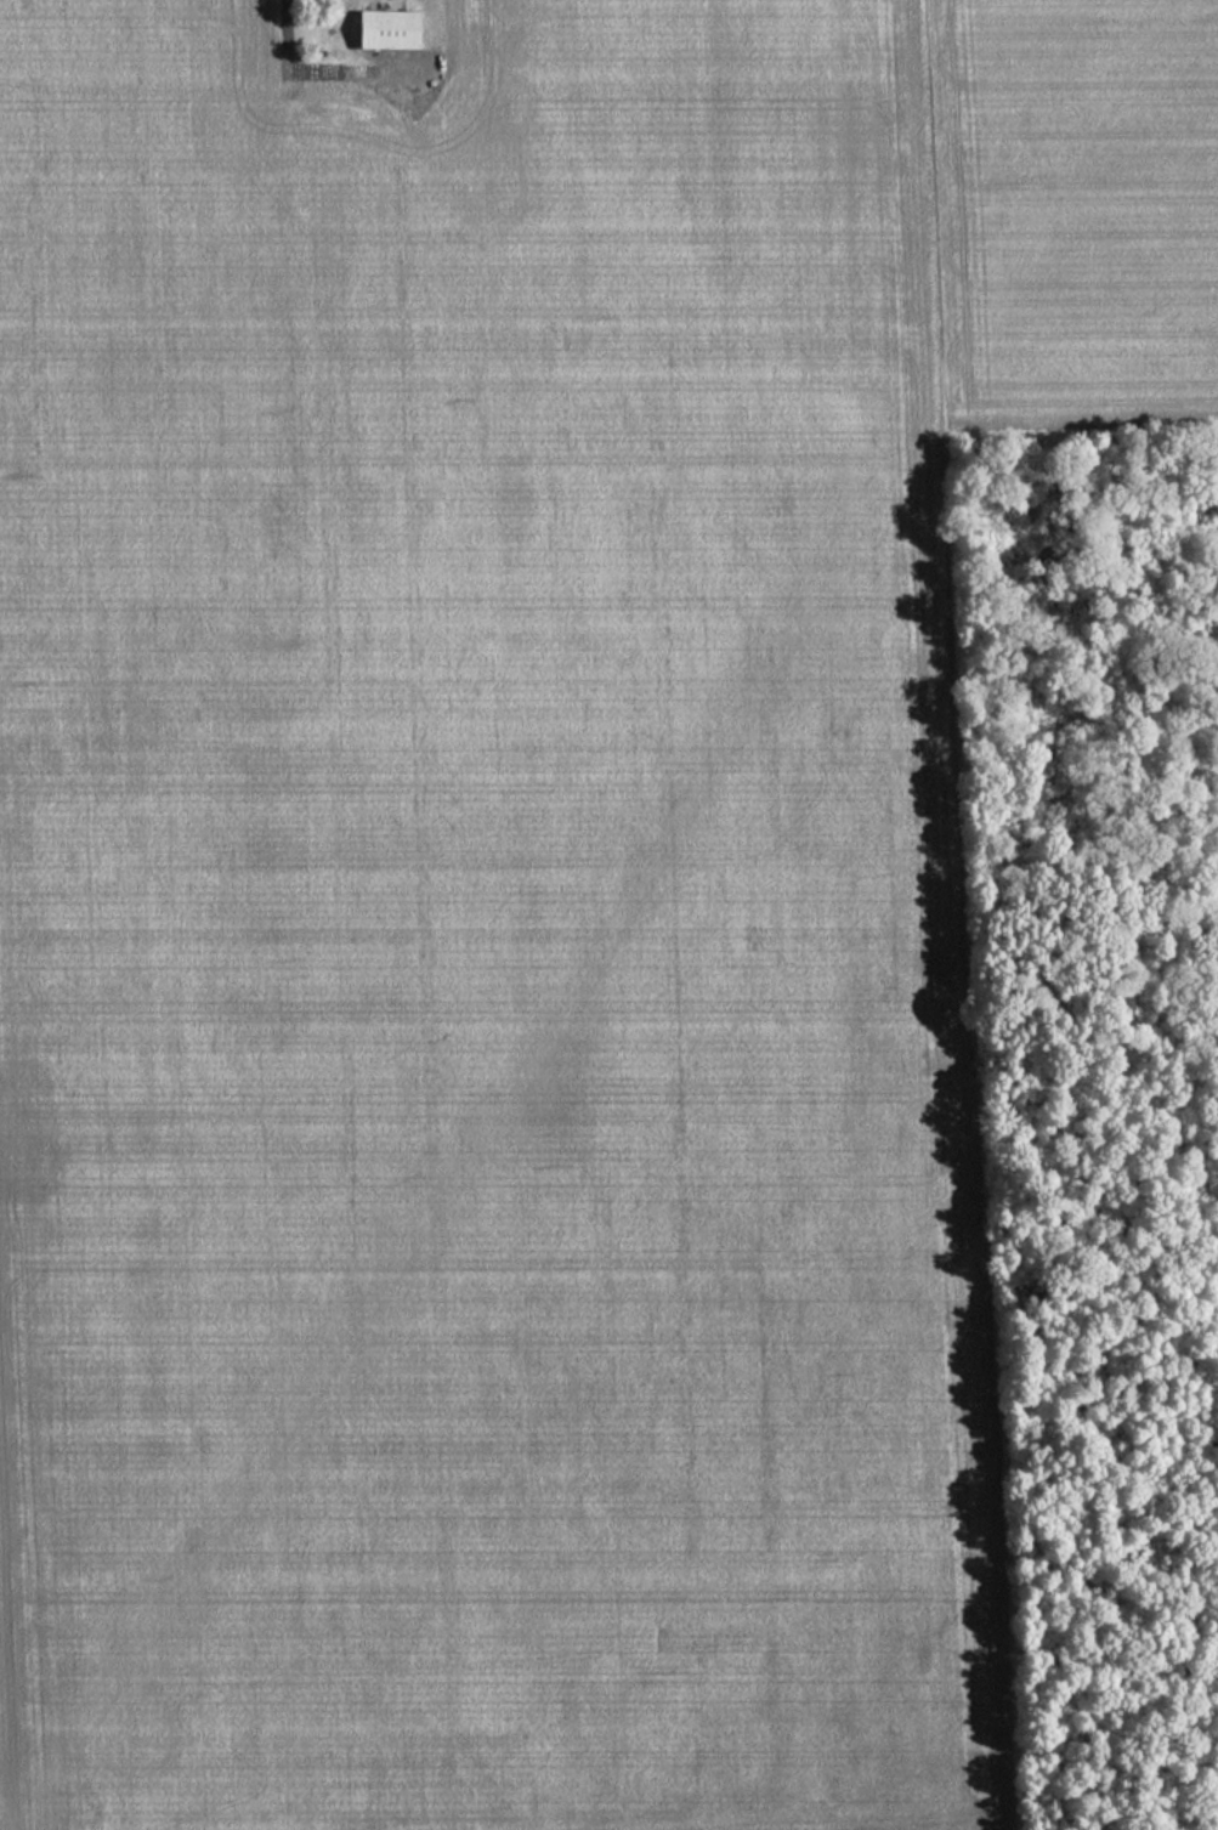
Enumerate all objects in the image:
building: (380, 30)
crop: (1072, 210)
crop: (480, 942)

